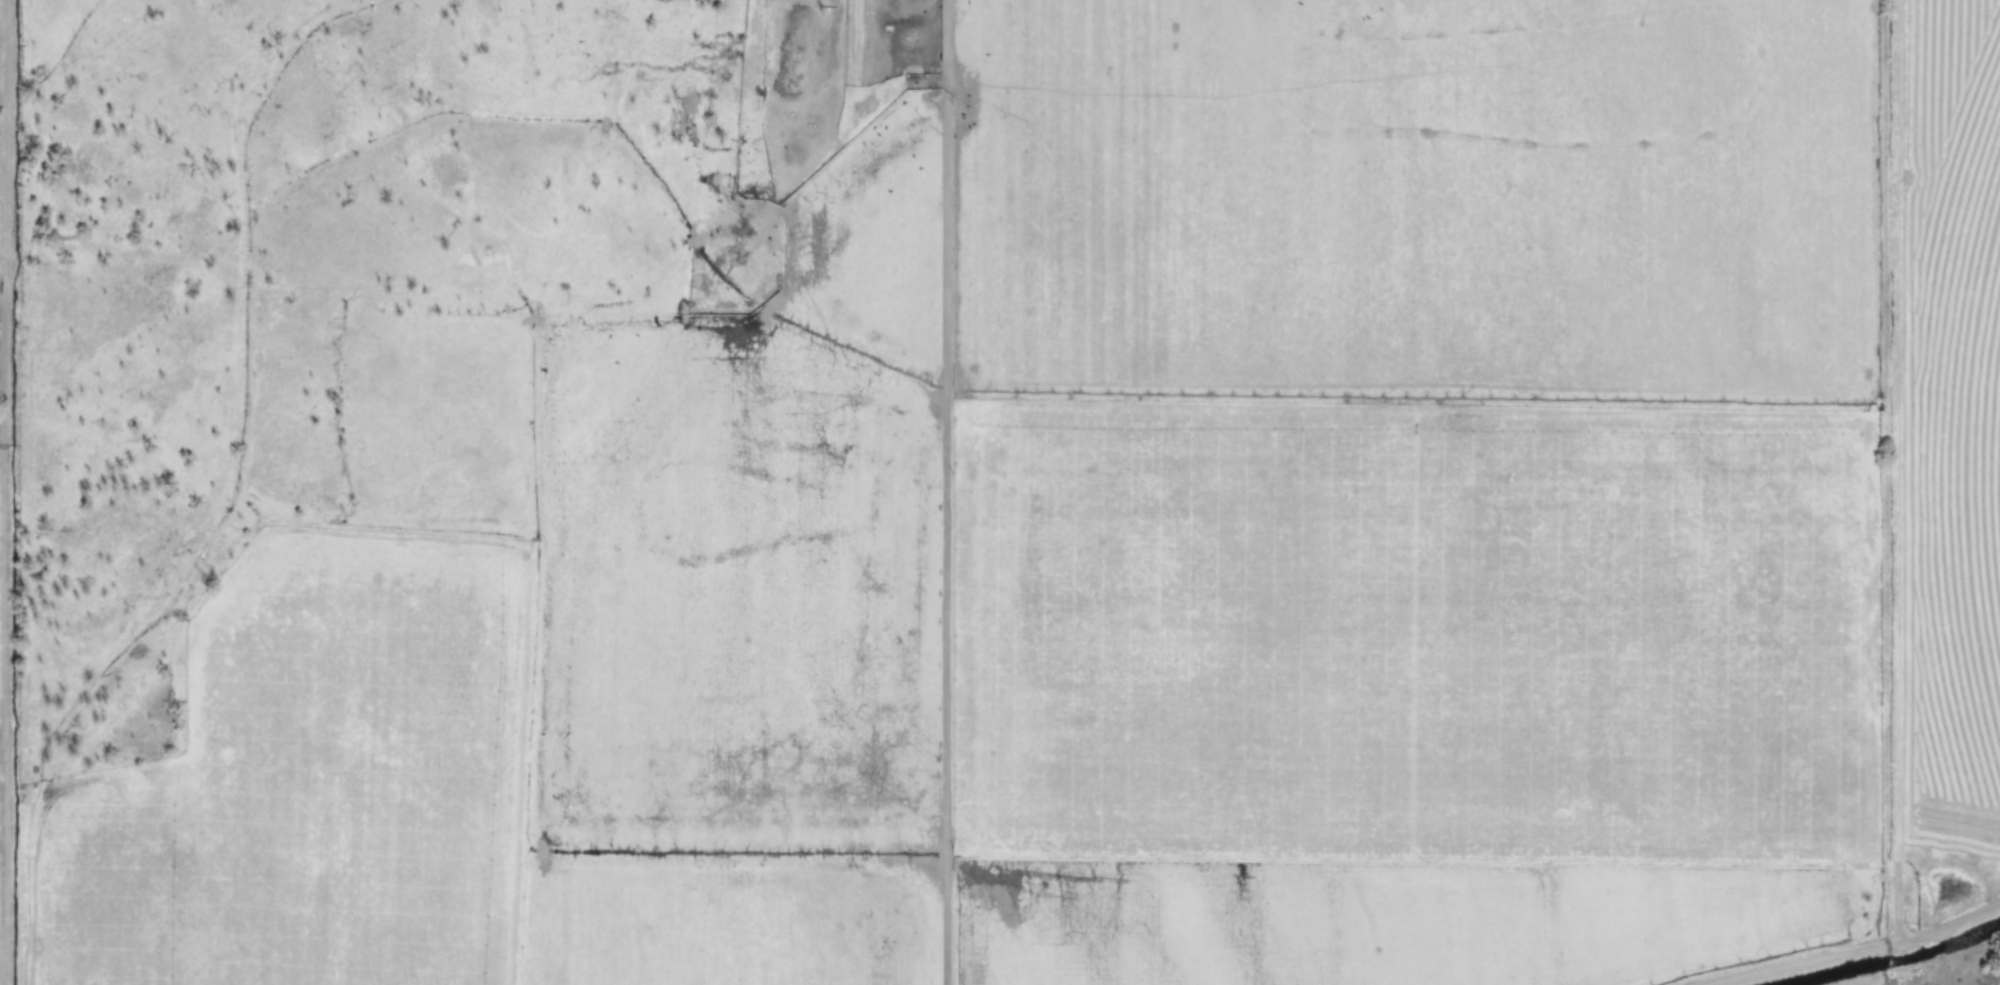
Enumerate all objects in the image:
road: (1860, 950)

